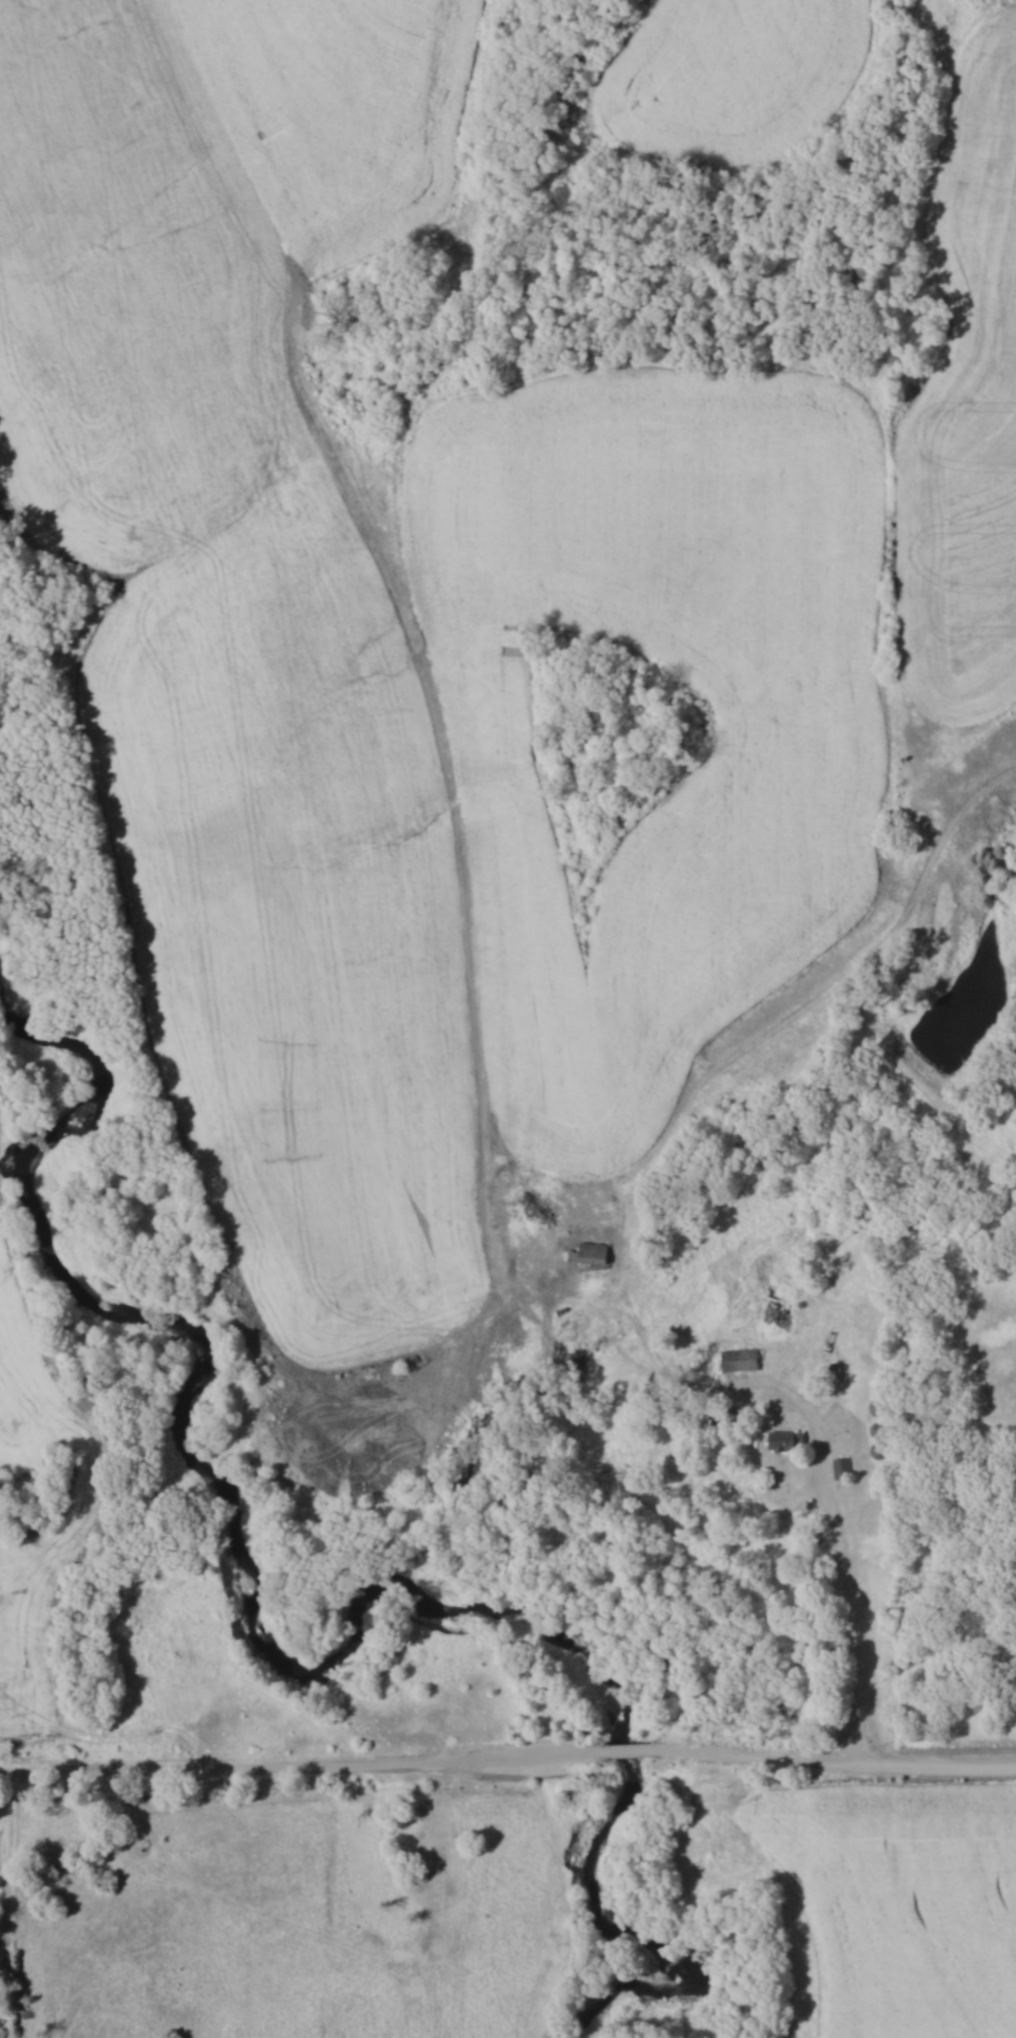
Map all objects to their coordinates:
building: (583, 1252)
building: (775, 1322)
building: (737, 1358)
building: (782, 1440)
building: (838, 1467)
road: (838, 1542)
river: (308, 1661)
road: (623, 1750)
road: (834, 1764)
road: (297, 1773)

